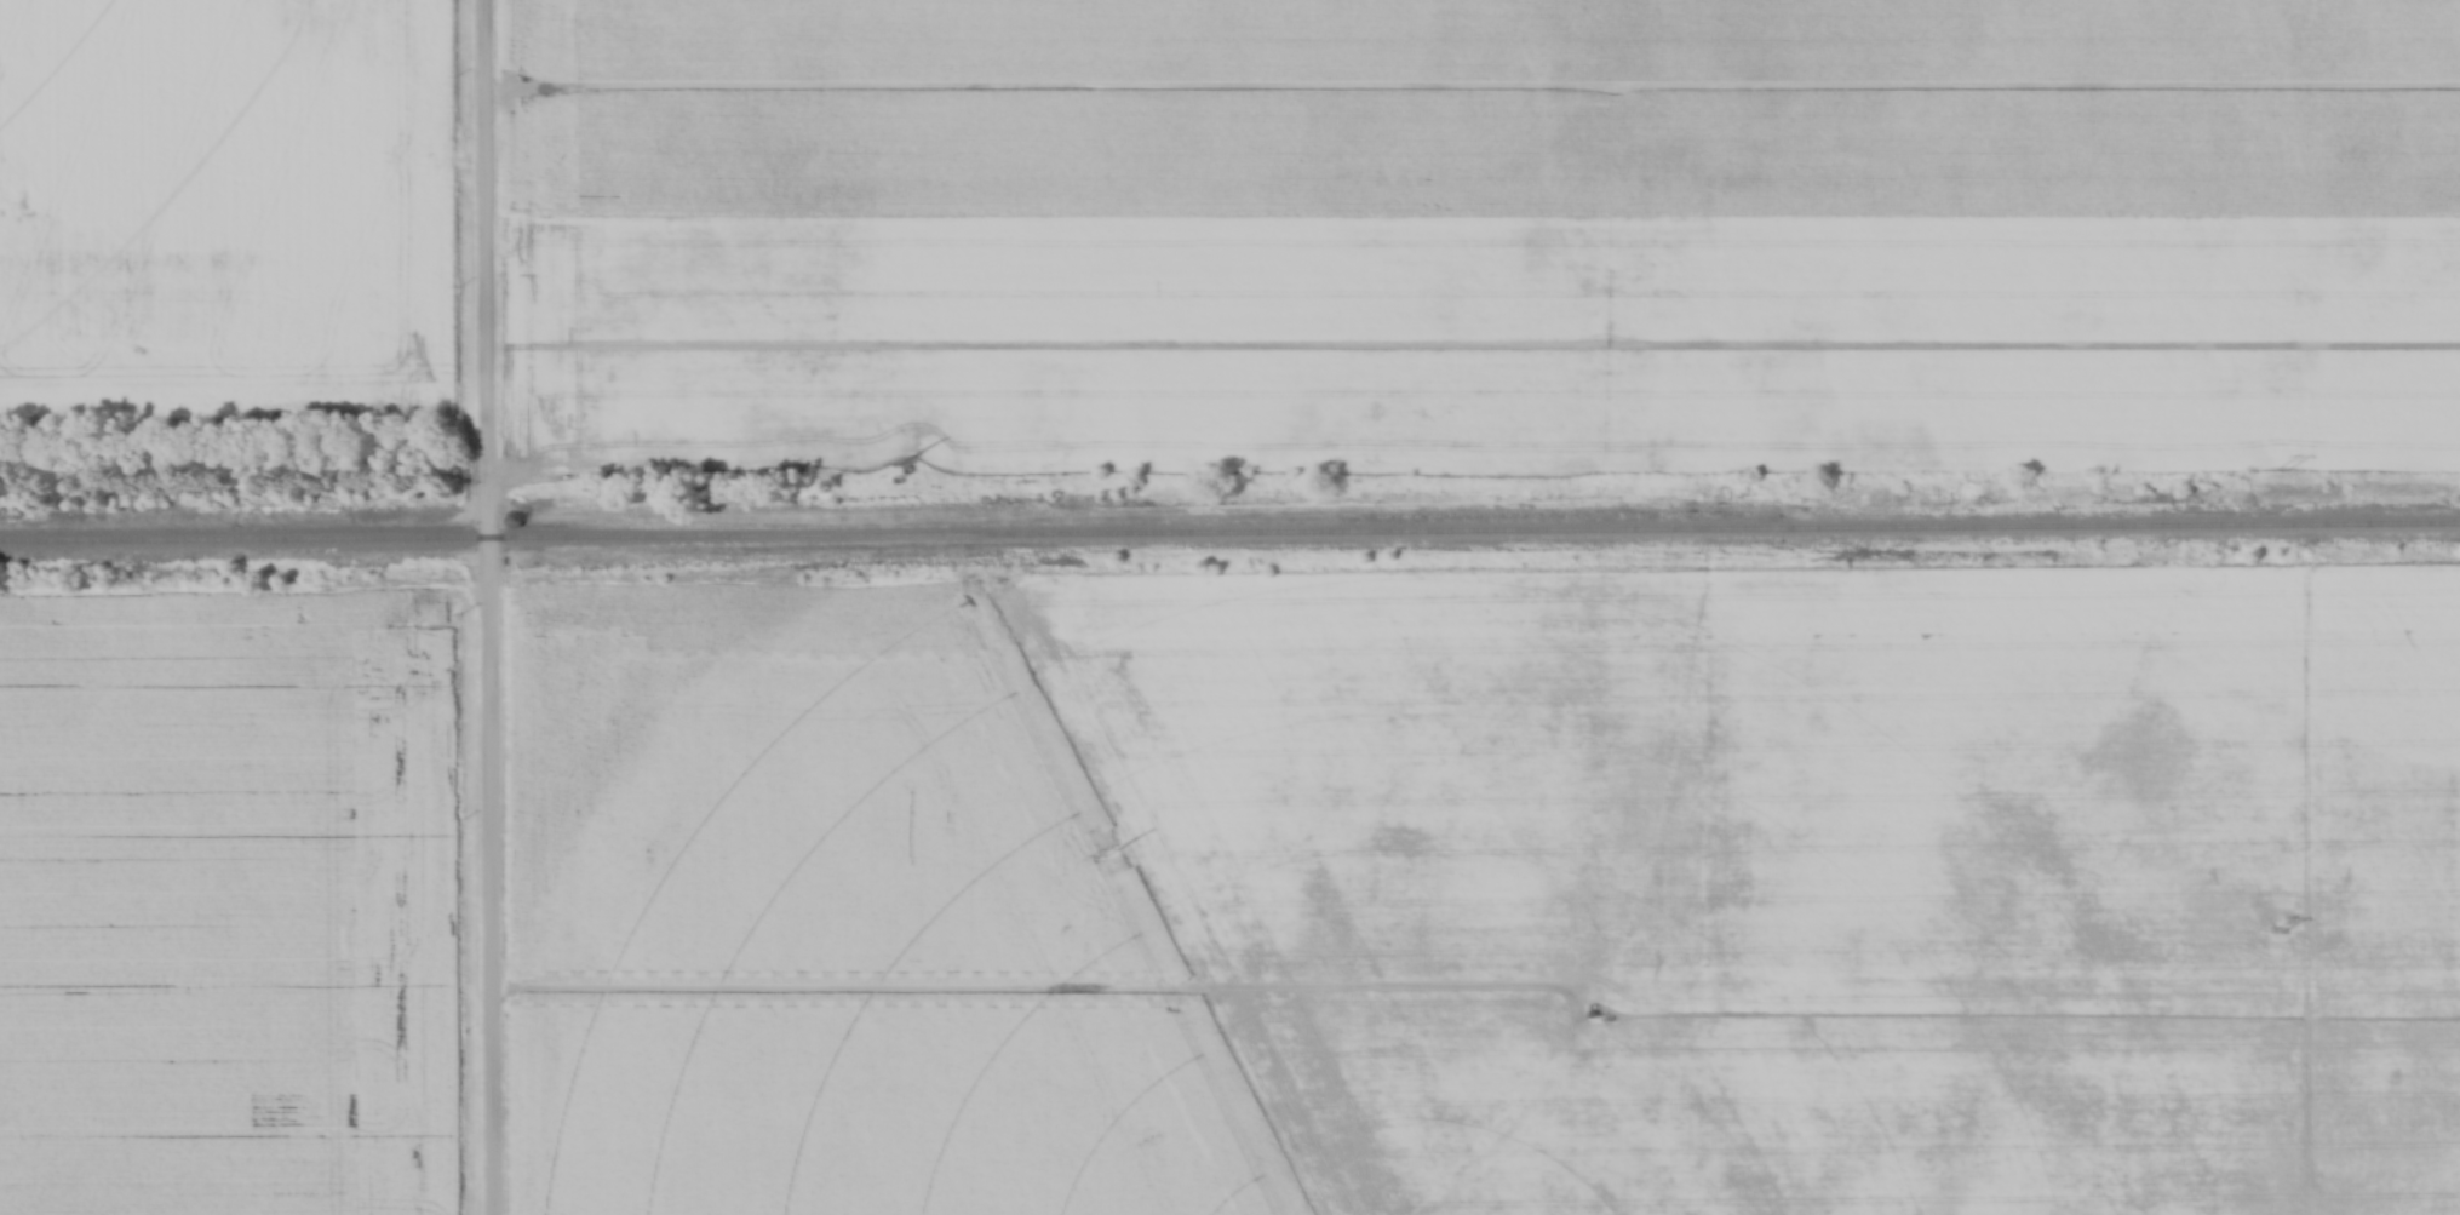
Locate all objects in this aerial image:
power tower: (906, 464)
power tower: (2282, 474)
railway: (1229, 531)
road: (489, 607)
power tower: (1108, 854)
power tower: (2276, 934)

